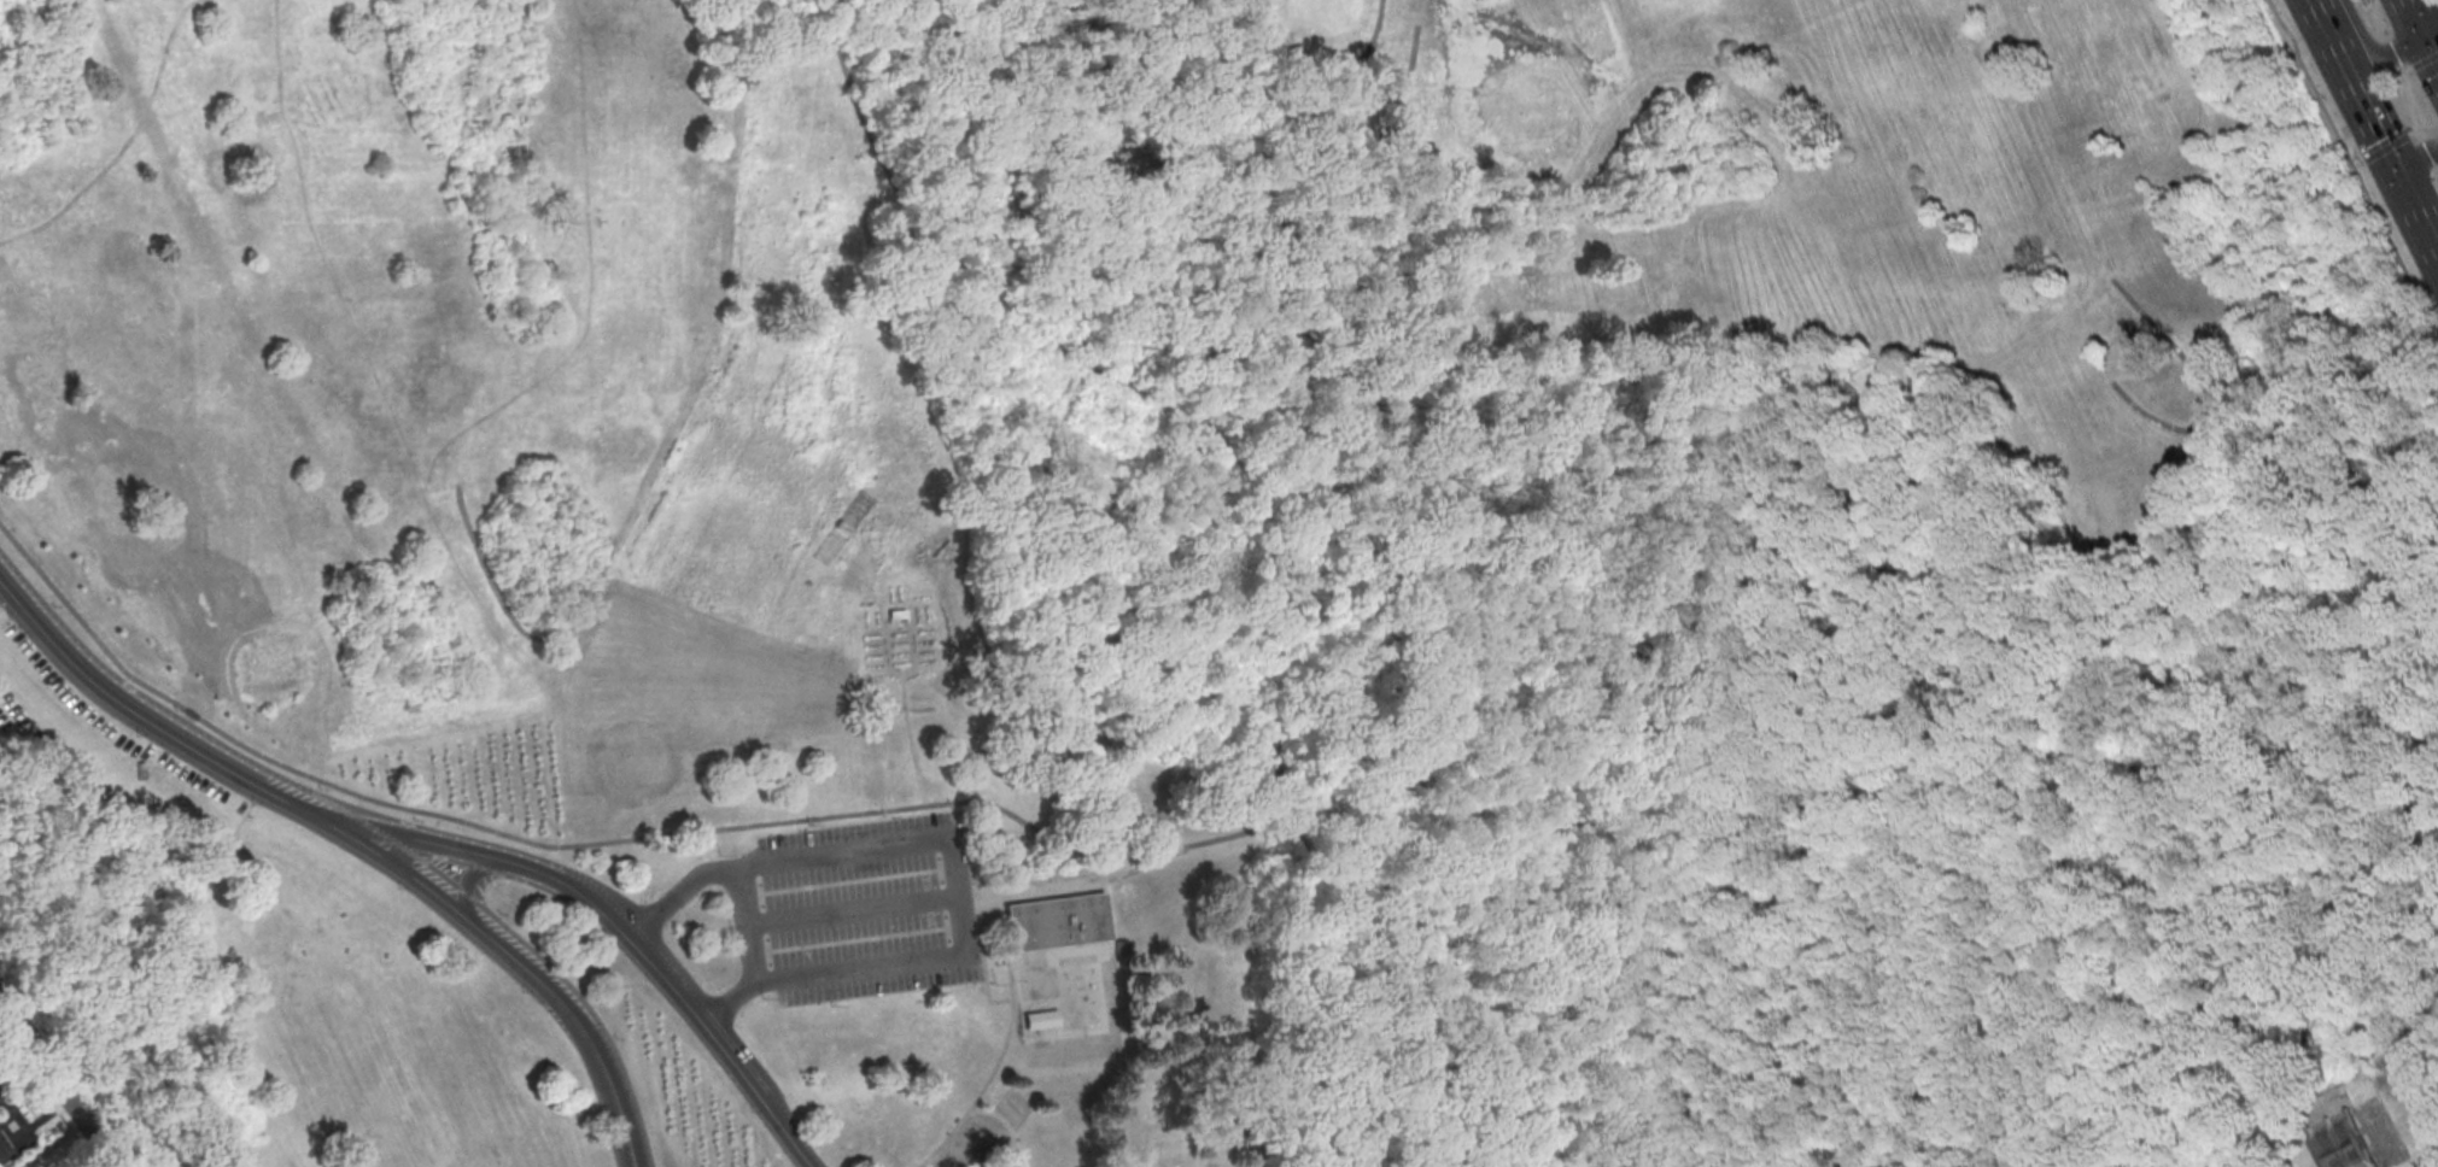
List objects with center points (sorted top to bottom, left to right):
road: (2424, 11)
road: (2420, 34)
traffic signals: (2422, 39)
road: (2369, 51)
road: (2422, 60)
road: (2407, 102)
road: (1358, 127)
road: (2373, 129)
road: (2344, 135)
road: (2383, 149)
road: (2415, 157)
road: (2355, 165)
road: (2349, 166)
traffic signals: (2393, 168)
park: (1865, 277)
road: (1216, 291)
park: (361, 328)
road: (2206, 387)
road: (958, 528)
road: (1831, 569)
park: (1211, 586)
road: (524, 632)
road: (911, 637)
road: (2202, 643)
road: (888, 669)
road: (1783, 693)
road: (152, 721)
road: (1847, 734)
road: (1117, 766)
road: (1689, 822)
road: (437, 829)
road: (952, 843)
road: (415, 850)
road: (1093, 855)
road: (518, 857)
road: (492, 860)
road: (467, 881)
road: (1082, 884)
road: (974, 891)
road: (676, 898)
road: (456, 908)
parking lot: (869, 909)
road: (853, 911)
road: (493, 915)
building: (1058, 922)
building: (1122, 948)
road: (986, 987)
water park: (1081, 999)
road: (724, 1005)
building: (1039, 1020)
road: (720, 1043)
road: (1004, 1045)
road: (2376, 1071)
road: (608, 1083)
road: (55, 1084)
road: (47, 1098)
building: (2334, 1107)
road: (989, 1112)
road: (1010, 1136)
park: (2338, 1142)
building: (4, 1148)
building: (2346, 1148)
road: (995, 1160)
road: (807, 1161)
road: (930, 1163)

